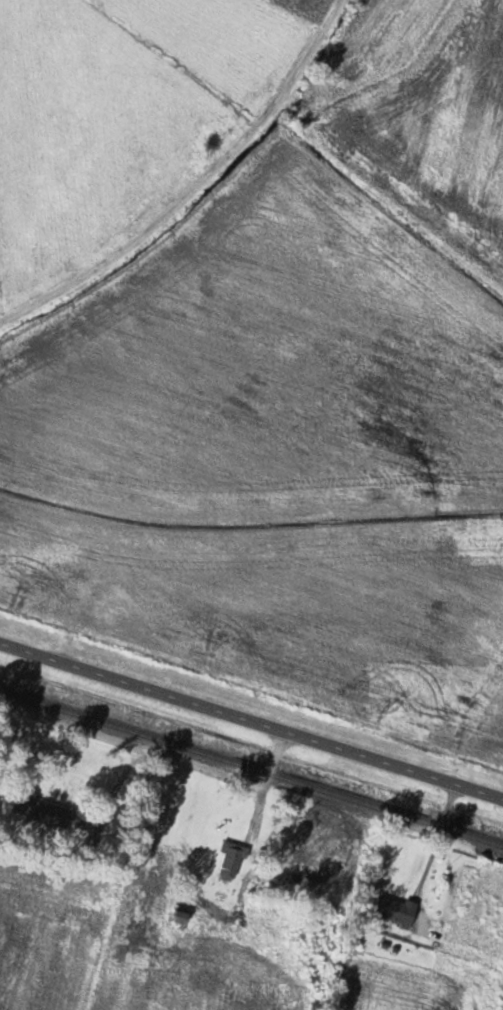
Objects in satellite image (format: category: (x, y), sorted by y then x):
road: (251, 721)
railway: (251, 767)
building: (43, 811)
building: (232, 862)
building: (396, 911)
building: (182, 918)
road: (324, 965)

